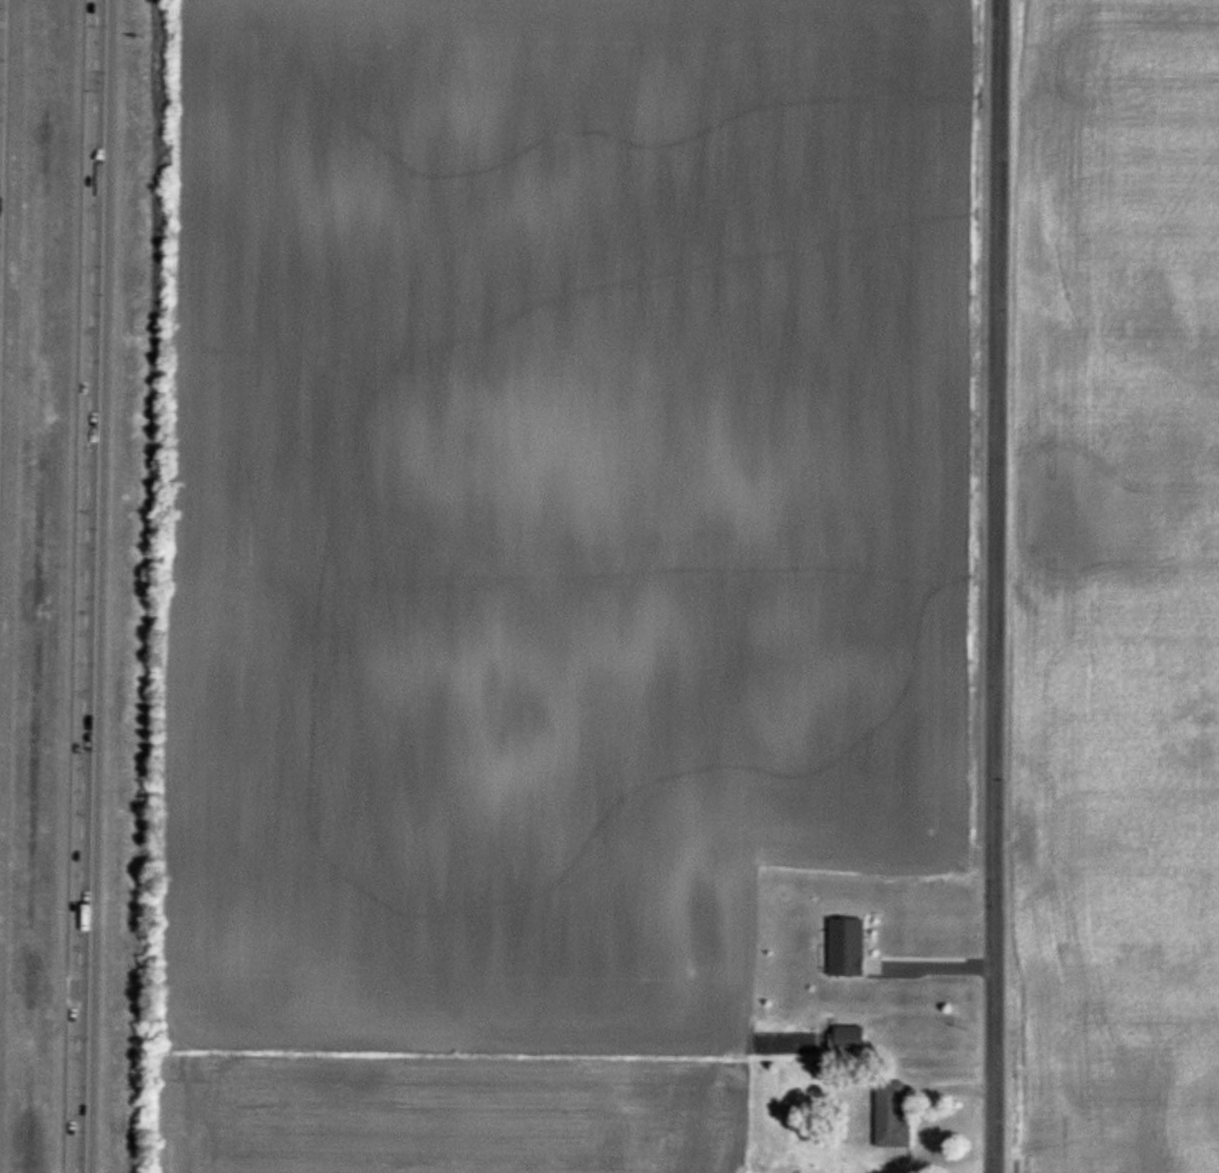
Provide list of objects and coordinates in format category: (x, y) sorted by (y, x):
road: (88, 586)
road: (995, 586)
building: (847, 948)
building: (849, 1039)
building: (893, 1117)

